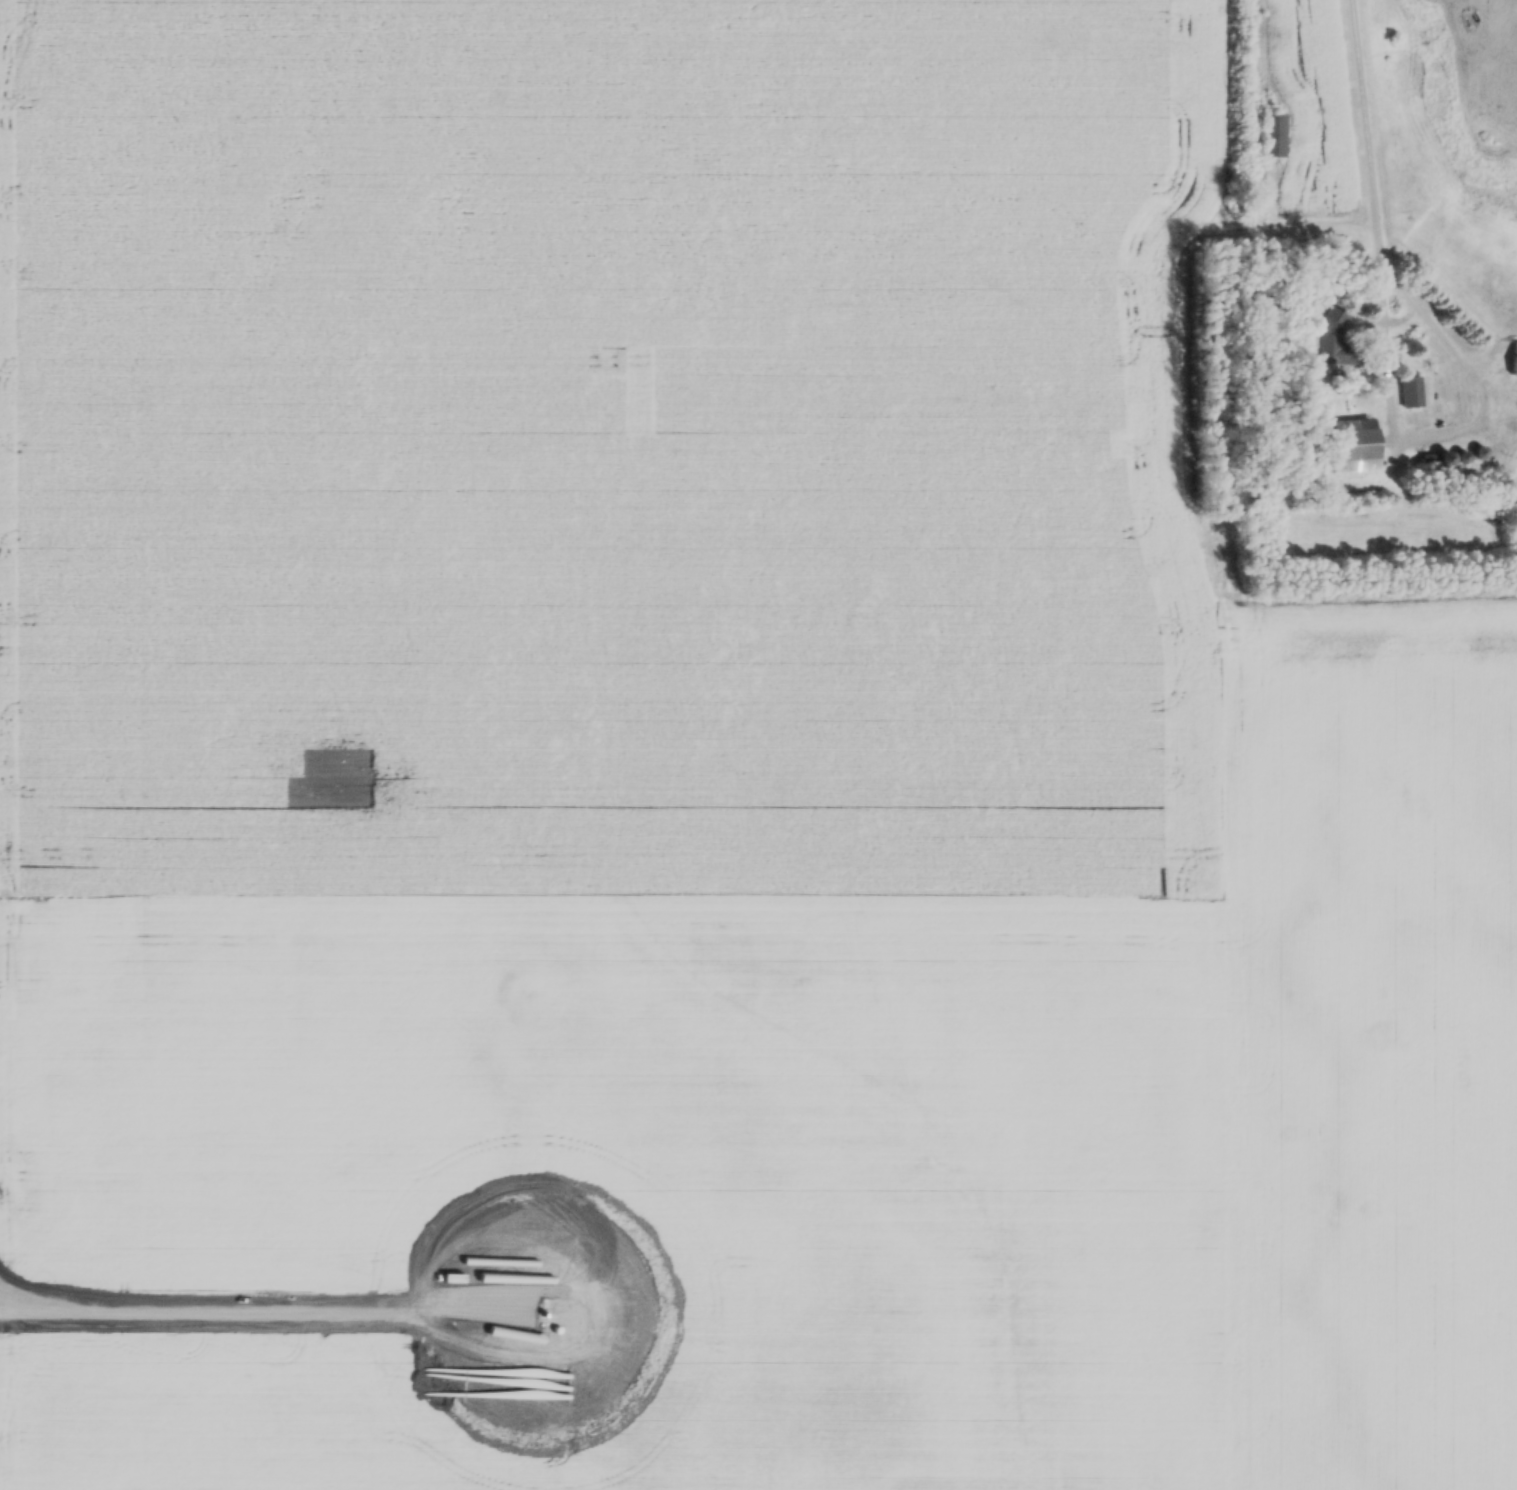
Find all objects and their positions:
road: (1366, 121)
building: (1275, 138)
road: (1389, 324)
building: (1337, 342)
building: (1515, 363)
building: (1412, 395)
building: (1357, 448)
building: (1514, 530)
wind turbine: (540, 1309)

